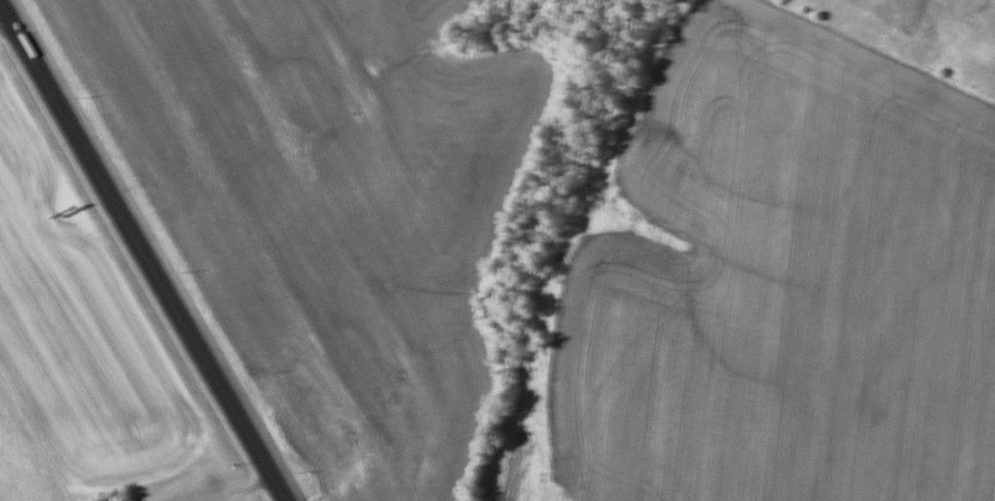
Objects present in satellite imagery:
road: (149, 249)
road: (243, 484)

